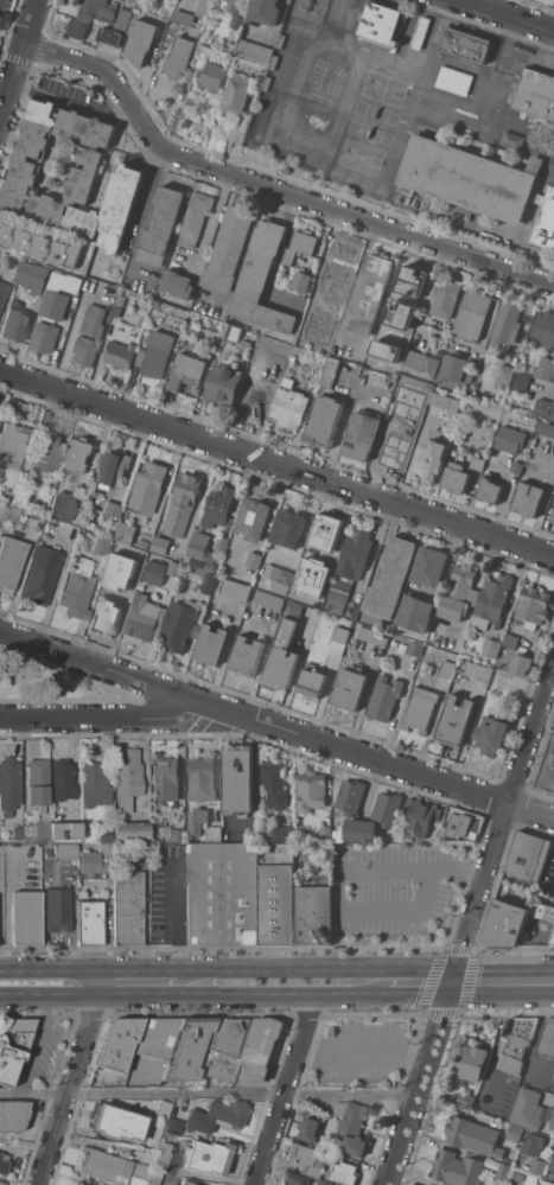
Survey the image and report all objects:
building: (230, 0)
building: (4, 6)
building: (204, 7)
road: (340, 8)
building: (267, 11)
building: (184, 15)
road: (507, 15)
building: (90, 17)
building: (125, 19)
building: (240, 20)
building: (382, 23)
building: (172, 31)
building: (421, 32)
building: (110, 37)
building: (141, 40)
building: (466, 44)
building: (256, 50)
building: (180, 56)
road: (19, 64)
building: (197, 70)
building: (214, 76)
building: (454, 79)
road: (493, 88)
building: (238, 91)
building: (536, 95)
road: (2, 110)
building: (71, 176)
building: (470, 178)
road: (145, 184)
road: (270, 190)
building: (539, 199)
building: (193, 217)
building: (547, 222)
building: (161, 225)
building: (6, 231)
building: (23, 238)
building: (42, 244)
building: (300, 244)
building: (229, 248)
building: (61, 250)
building: (33, 275)
building: (261, 279)
building: (301, 281)
building: (177, 283)
building: (403, 285)
building: (2, 293)
building: (370, 293)
building: (58, 295)
building: (445, 298)
building: (121, 299)
building: (117, 310)
building: (472, 313)
building: (94, 319)
building: (409, 319)
building: (325, 320)
building: (13, 325)
building: (505, 325)
building: (543, 330)
building: (231, 332)
building: (44, 337)
road: (69, 339)
building: (246, 344)
building: (84, 351)
building: (120, 353)
building: (155, 353)
building: (421, 364)
building: (546, 367)
building: (452, 370)
building: (186, 371)
building: (329, 371)
building: (504, 376)
building: (276, 378)
building: (522, 380)
road: (545, 383)
building: (223, 384)
building: (253, 397)
building: (445, 401)
building: (11, 403)
building: (291, 407)
building: (545, 408)
building: (44, 418)
building: (323, 421)
road: (342, 422)
building: (545, 427)
building: (361, 435)
building: (510, 439)
building: (12, 445)
building: (405, 448)
building: (49, 453)
building: (79, 453)
building: (433, 459)
building: (478, 463)
road: (276, 464)
building: (114, 467)
building: (517, 467)
building: (456, 477)
building: (147, 486)
building: (489, 490)
building: (82, 492)
building: (5, 496)
building: (528, 498)
building: (183, 504)
building: (61, 507)
building: (219, 507)
building: (112, 508)
building: (14, 511)
building: (2, 512)
building: (107, 517)
building: (553, 517)
building: (254, 518)
building: (288, 528)
building: (126, 533)
building: (323, 537)
building: (222, 542)
building: (95, 543)
building: (144, 543)
building: (160, 544)
building: (200, 547)
building: (119, 550)
building: (134, 554)
building: (253, 559)
building: (119, 560)
building: (9, 562)
building: (209, 566)
building: (174, 568)
building: (349, 568)
building: (153, 574)
building: (278, 574)
building: (427, 574)
building: (40, 576)
building: (390, 576)
building: (209, 582)
building: (293, 582)
building: (76, 590)
building: (235, 590)
building: (310, 592)
building: (459, 593)
building: (493, 598)
building: (268, 599)
building: (109, 601)
building: (533, 606)
building: (413, 612)
building: (145, 618)
building: (180, 624)
building: (401, 626)
building: (372, 636)
building: (338, 641)
building: (510, 641)
building: (211, 644)
building: (287, 644)
building: (402, 648)
building: (415, 648)
building: (491, 648)
building: (246, 656)
building: (521, 664)
building: (447, 668)
building: (478, 669)
building: (312, 682)
building: (350, 688)
building: (384, 697)
building: (420, 708)
road: (103, 720)
building: (454, 720)
road: (275, 728)
building: (491, 734)
building: (547, 769)
building: (127, 778)
building: (202, 778)
building: (237, 778)
building: (165, 779)
building: (62, 781)
building: (37, 782)
building: (8, 785)
building: (94, 785)
building: (272, 785)
building: (311, 790)
building: (350, 795)
building: (387, 807)
building: (421, 815)
building: (197, 820)
building: (460, 826)
building: (355, 829)
building: (37, 832)
building: (64, 832)
building: (130, 832)
building: (104, 833)
building: (215, 833)
building: (284, 833)
building: (325, 833)
building: (15, 834)
building: (179, 834)
building: (153, 836)
building: (408, 837)
building: (106, 849)
building: (64, 852)
building: (528, 856)
building: (93, 864)
road: (342, 878)
building: (222, 893)
building: (275, 893)
building: (530, 903)
building: (127, 904)
building: (539, 907)
building: (57, 909)
building: (312, 913)
road: (7, 917)
building: (25, 918)
road: (174, 918)
building: (89, 923)
building: (504, 923)
road: (469, 929)
building: (552, 939)
road: (314, 969)
road: (55, 970)
road: (144, 970)
road: (502, 982)
traffic signals: (451, 983)
road: (192, 993)
road: (418, 993)
building: (158, 1037)
building: (547, 1038)
building: (516, 1043)
road: (38, 1044)
building: (120, 1044)
building: (14, 1046)
building: (189, 1049)
building: (223, 1049)
building: (260, 1049)
road: (364, 1051)
building: (470, 1058)
road: (75, 1077)
road: (288, 1088)
road: (34, 1092)
road: (178, 1092)
road: (350, 1096)
building: (465, 1100)
building: (163, 1108)
building: (531, 1109)
building: (12, 1115)
building: (215, 1116)
building: (117, 1123)
road: (44, 1125)
building: (351, 1125)
building: (173, 1127)
building: (310, 1128)
building: (514, 1133)
building: (473, 1136)
building: (531, 1145)
building: (161, 1155)
building: (333, 1155)
building: (206, 1158)
building: (307, 1159)
building: (553, 1162)
building: (4, 1164)
building: (103, 1166)
building: (537, 1166)
building: (456, 1167)
building: (343, 1172)
building: (503, 1172)
building: (553, 1176)
building: (152, 1178)
building: (293, 1178)
building: (135, 1181)
building: (185, 1183)
building: (546, 1183)
building: (1, 1184)
building: (74, 1184)
building: (77, 1184)
building: (327, 1184)
building: (329, 1184)
building: (426, 1184)

